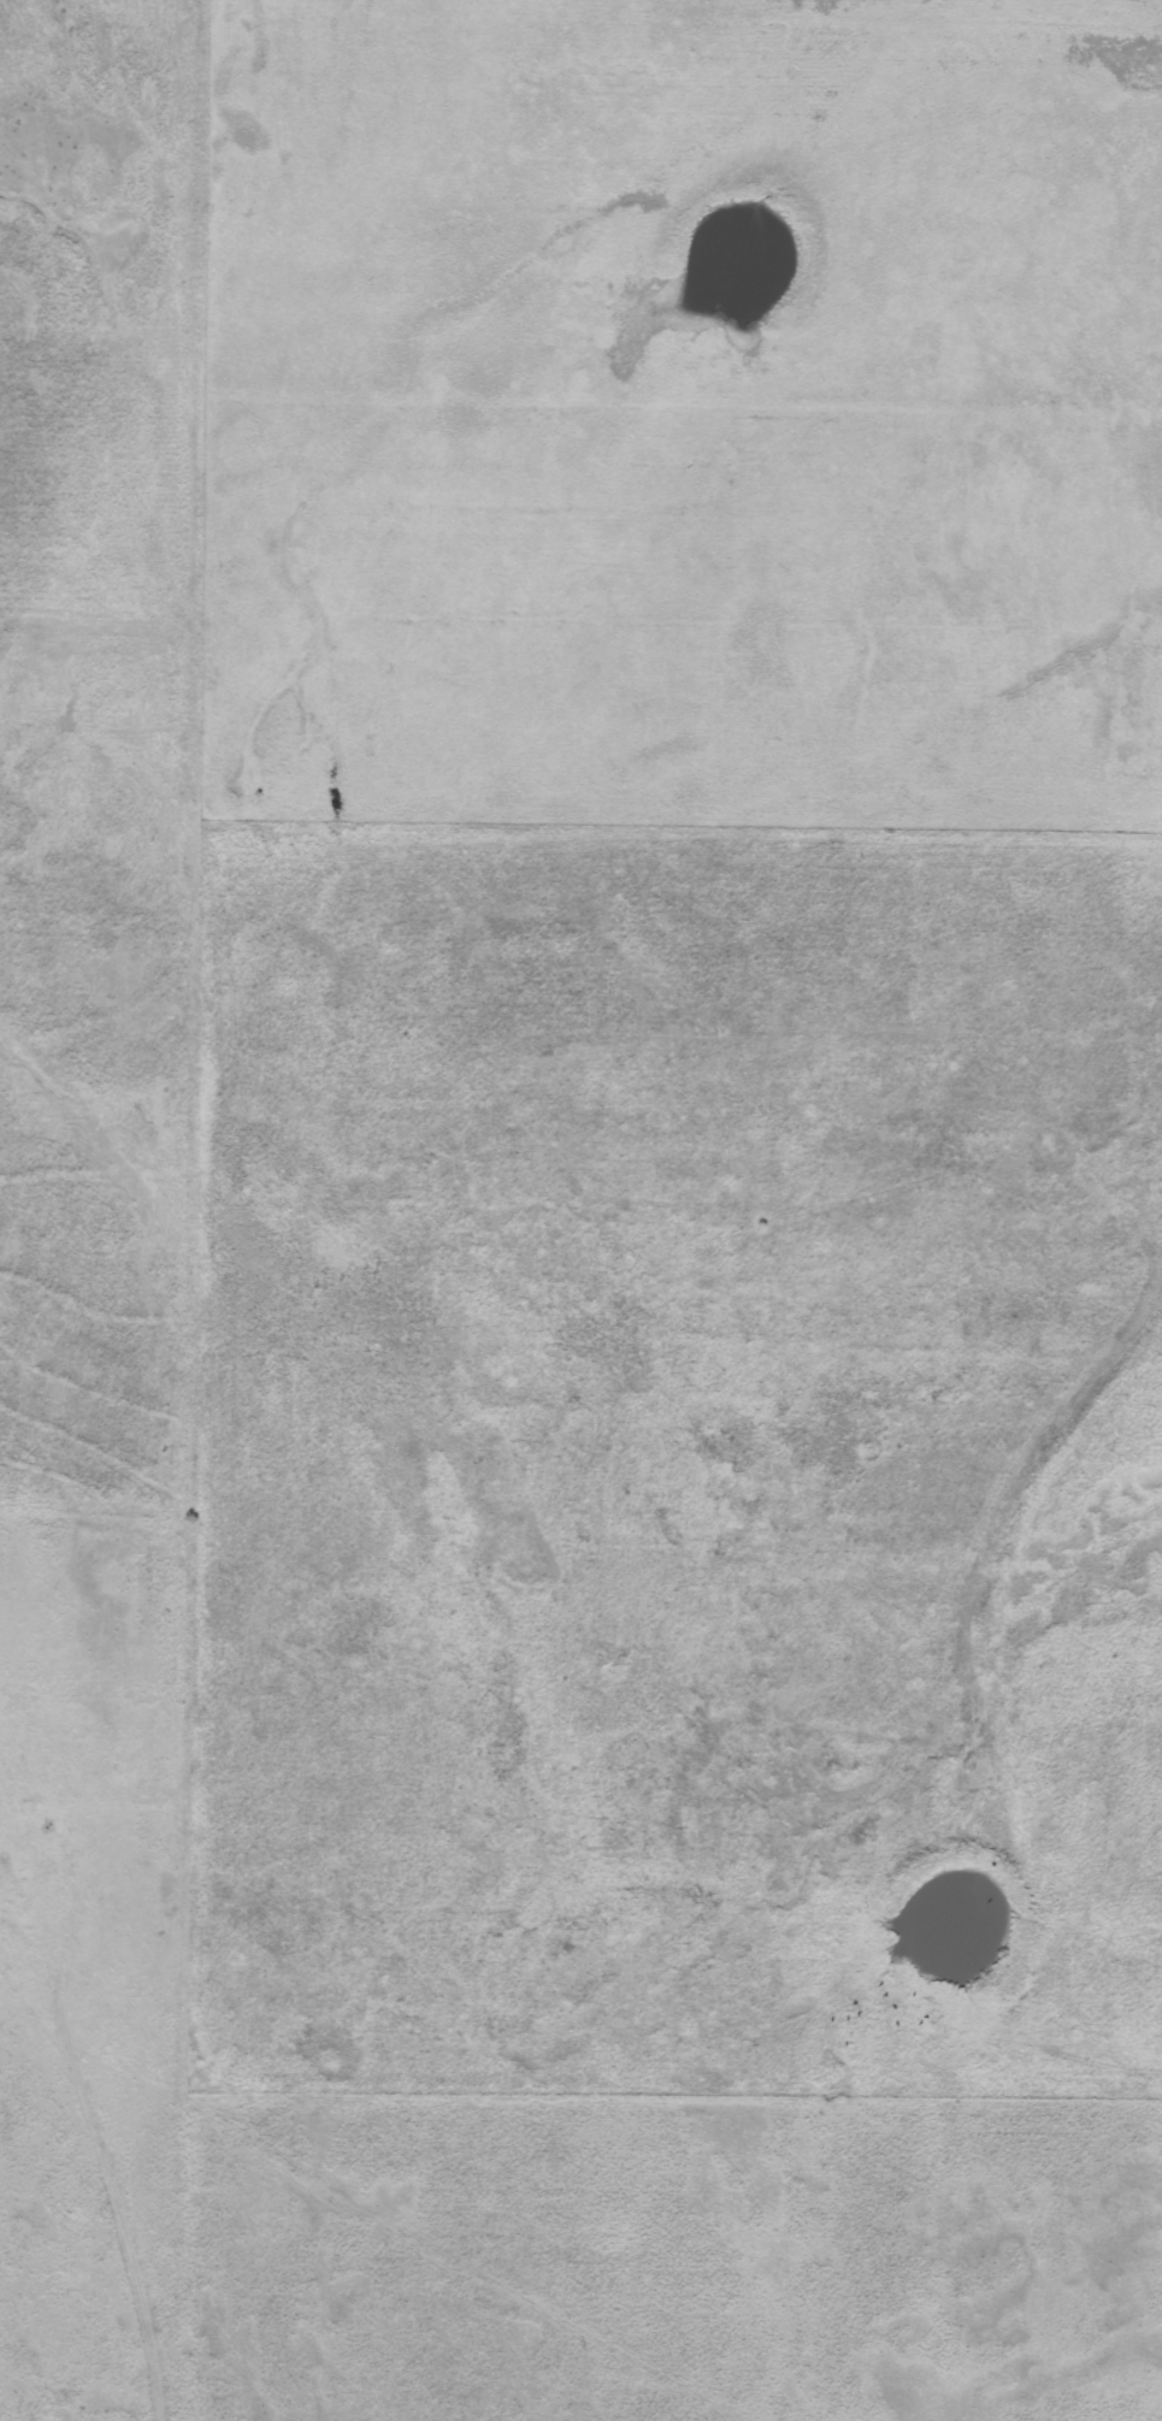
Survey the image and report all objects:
road: (77, 2121)

